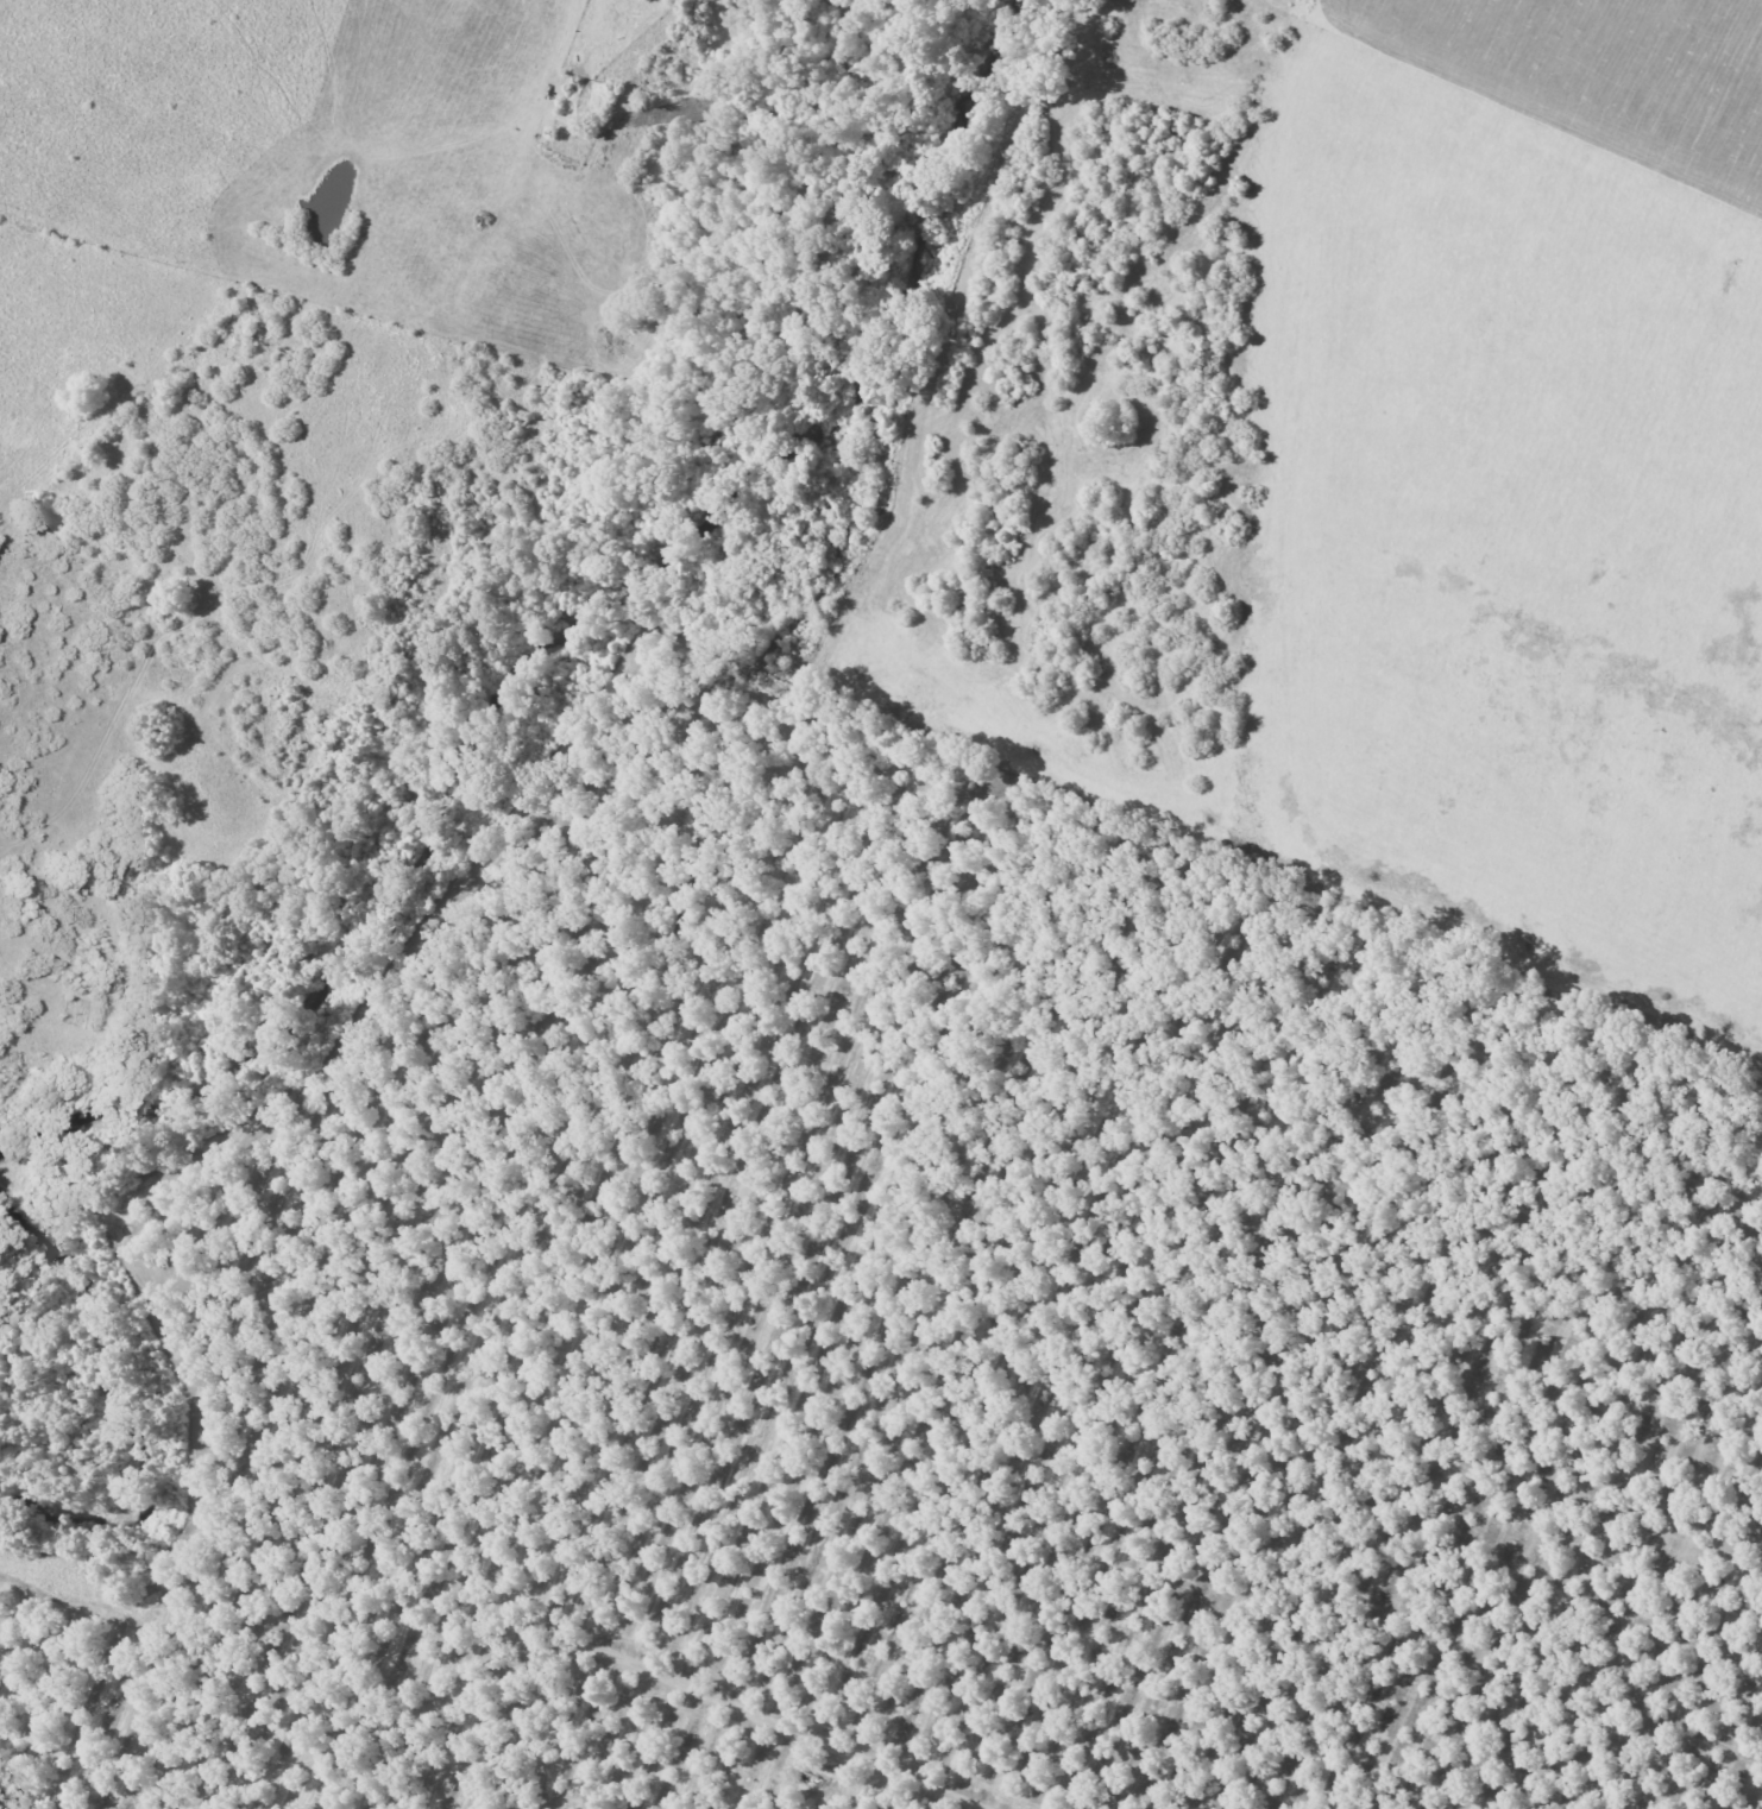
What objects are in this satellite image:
road: (574, 1651)

